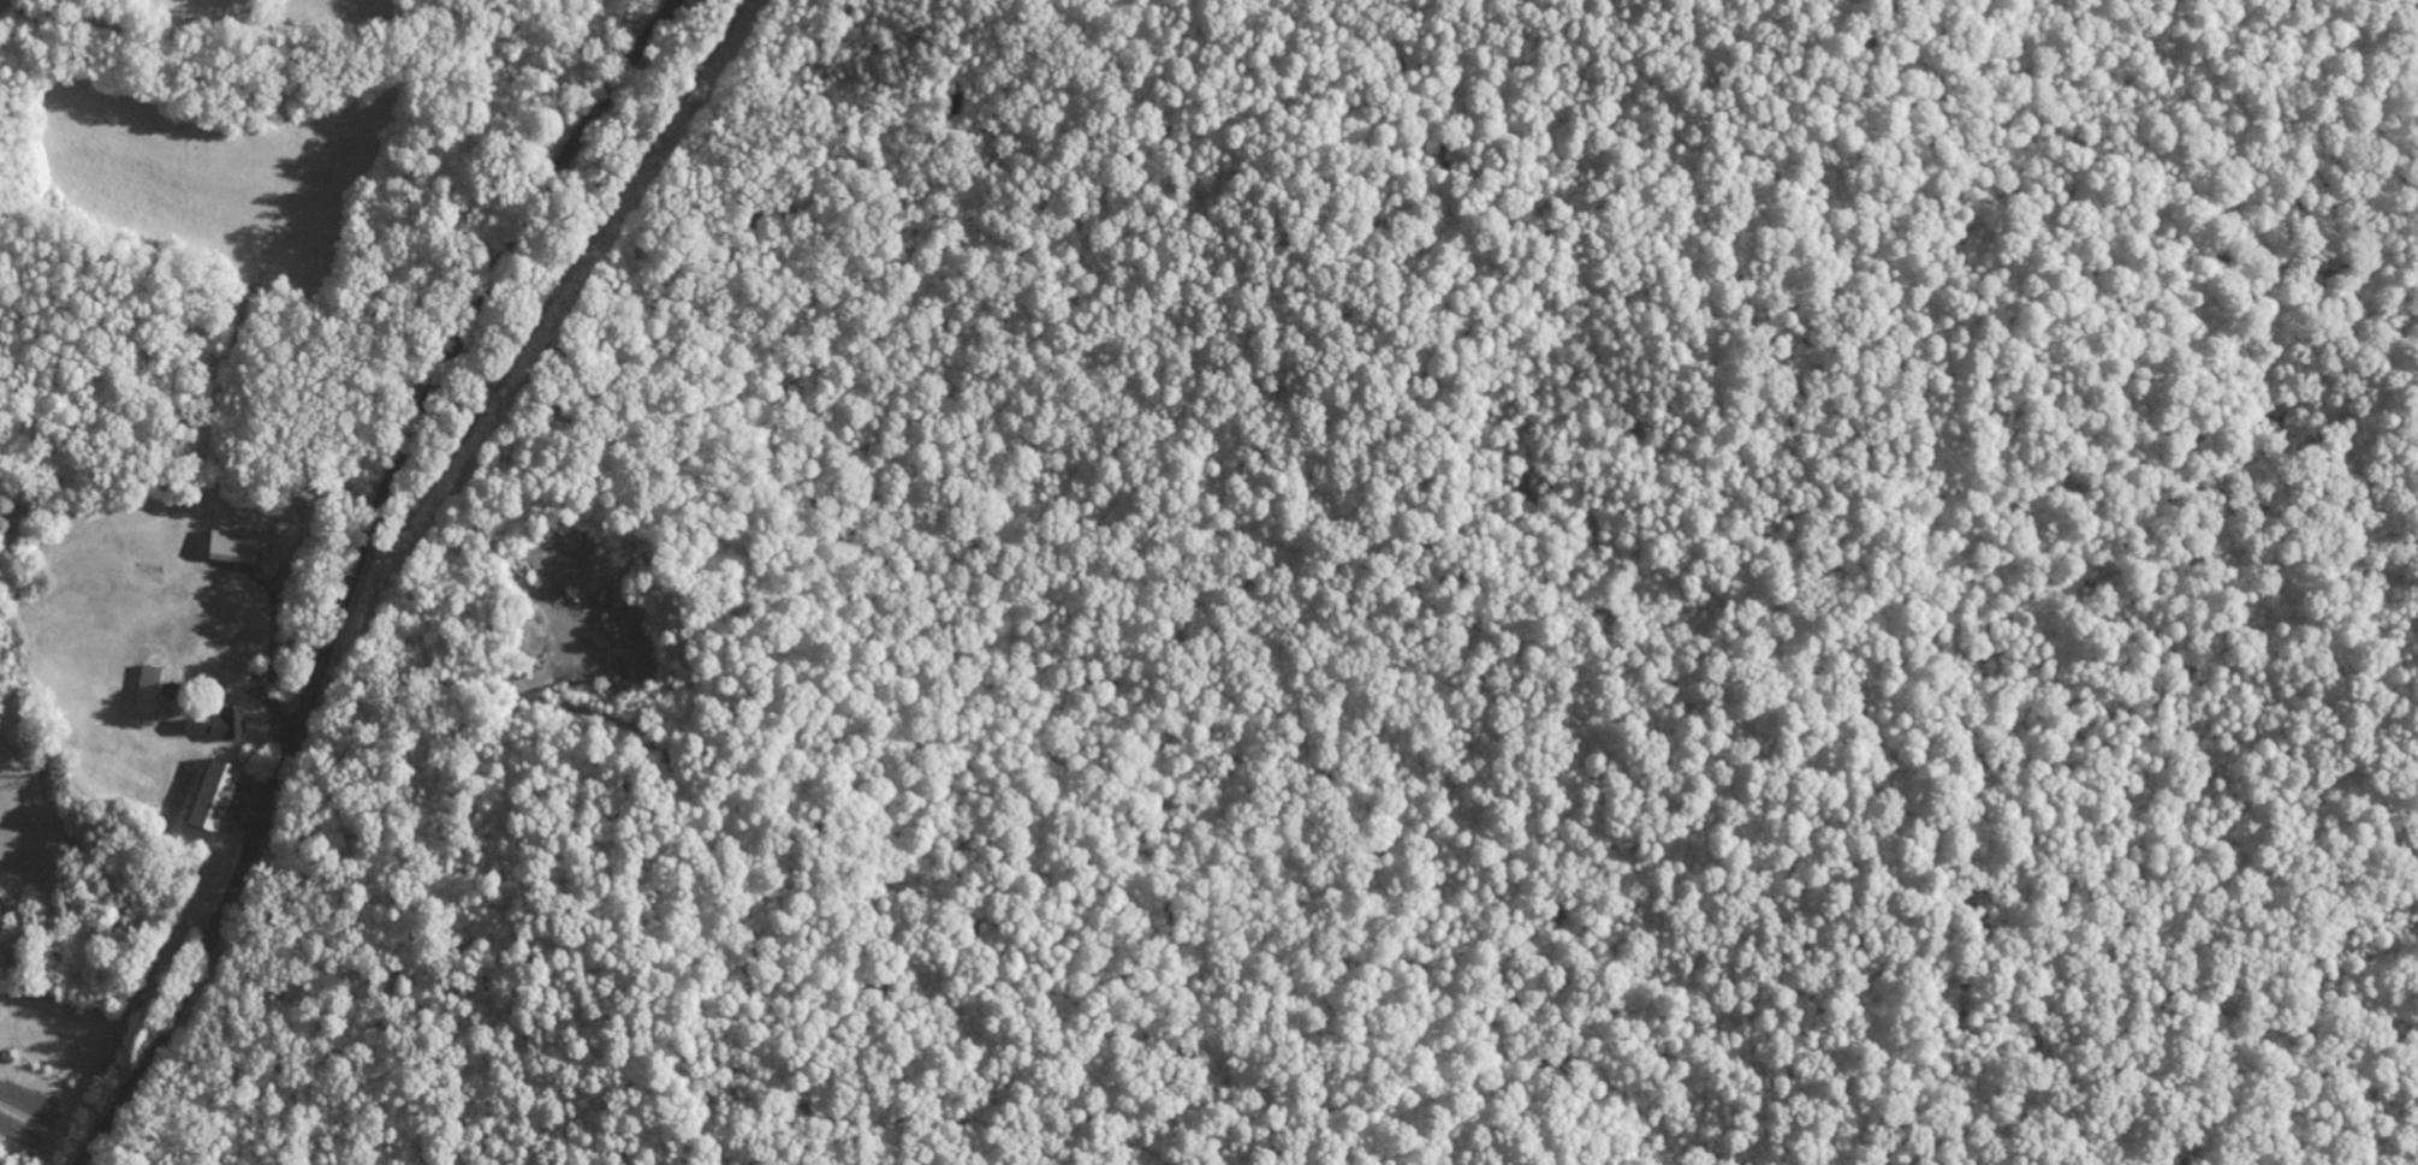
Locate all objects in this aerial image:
building: (237, 545)
road: (358, 571)
building: (150, 691)
building: (221, 727)
building: (218, 797)

